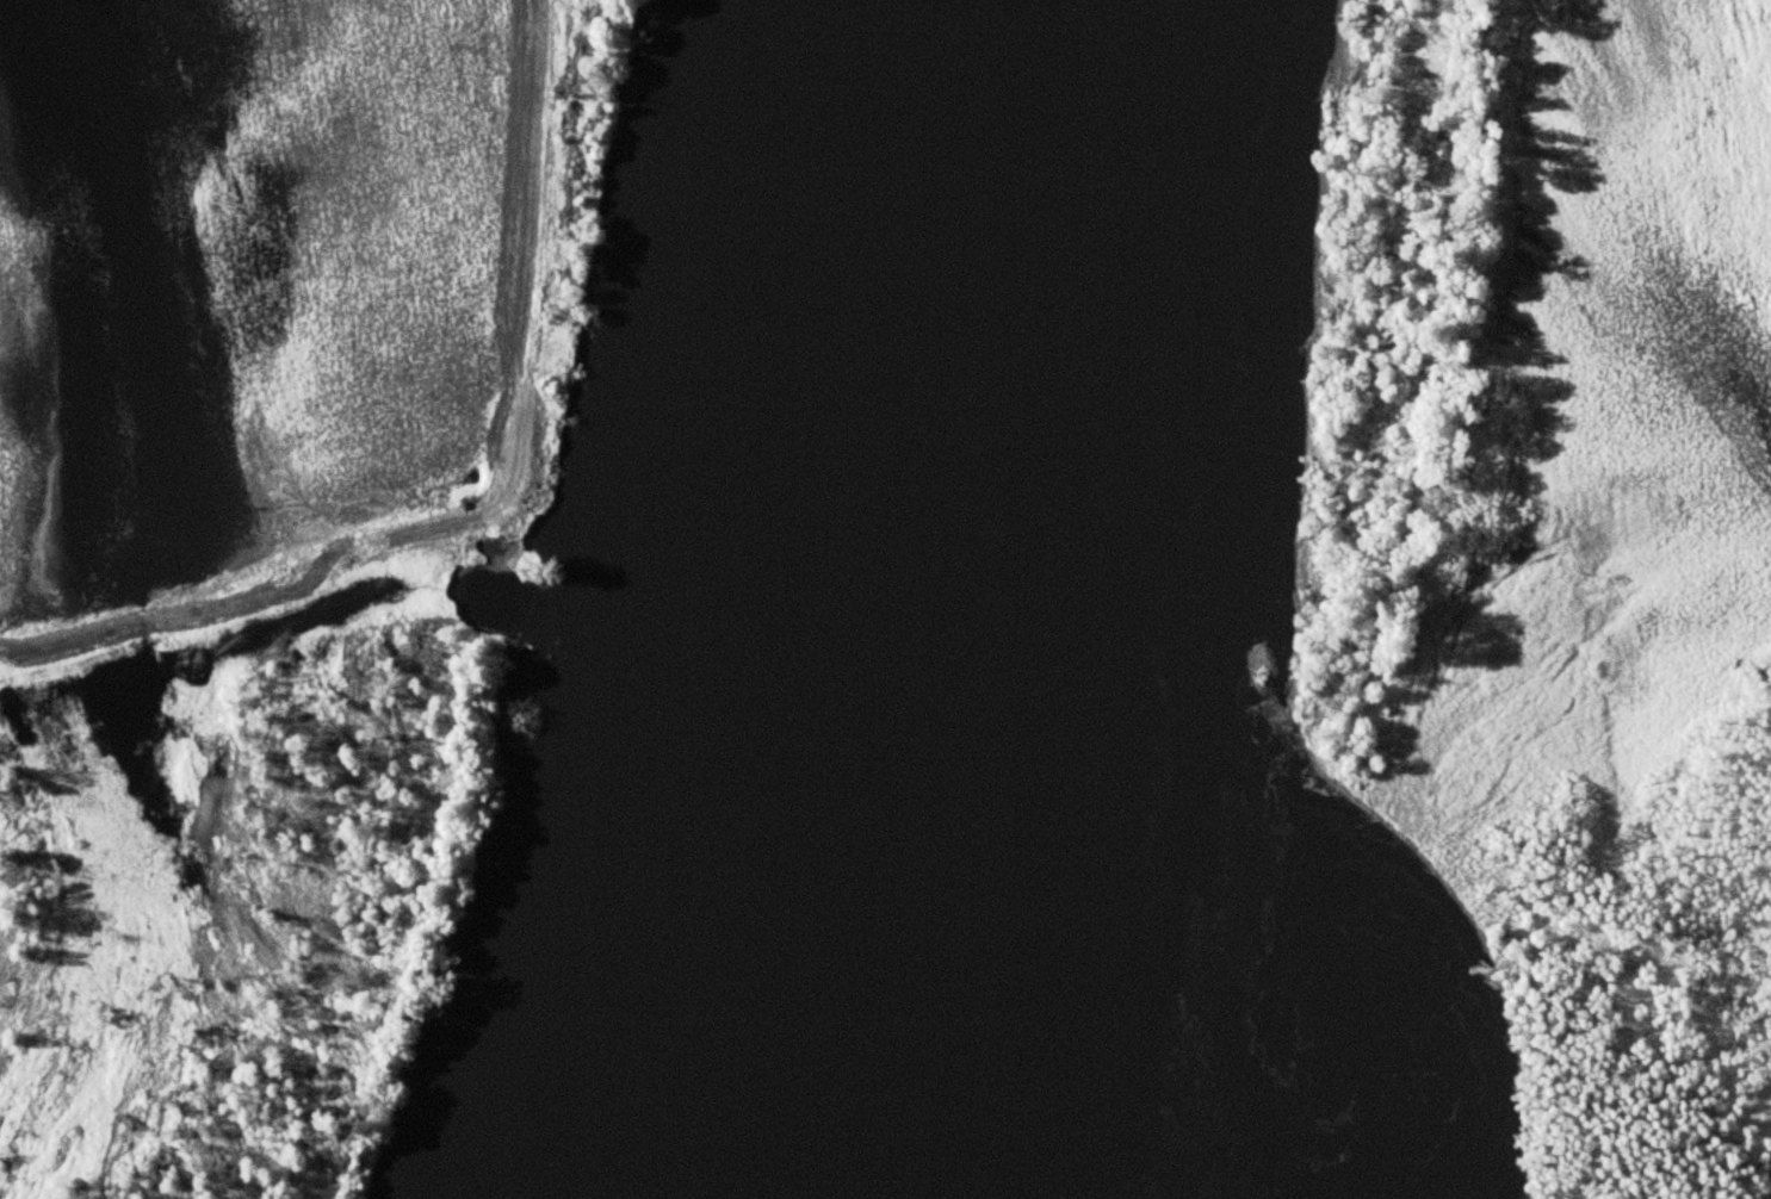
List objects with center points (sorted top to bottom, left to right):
river: (894, 599)

